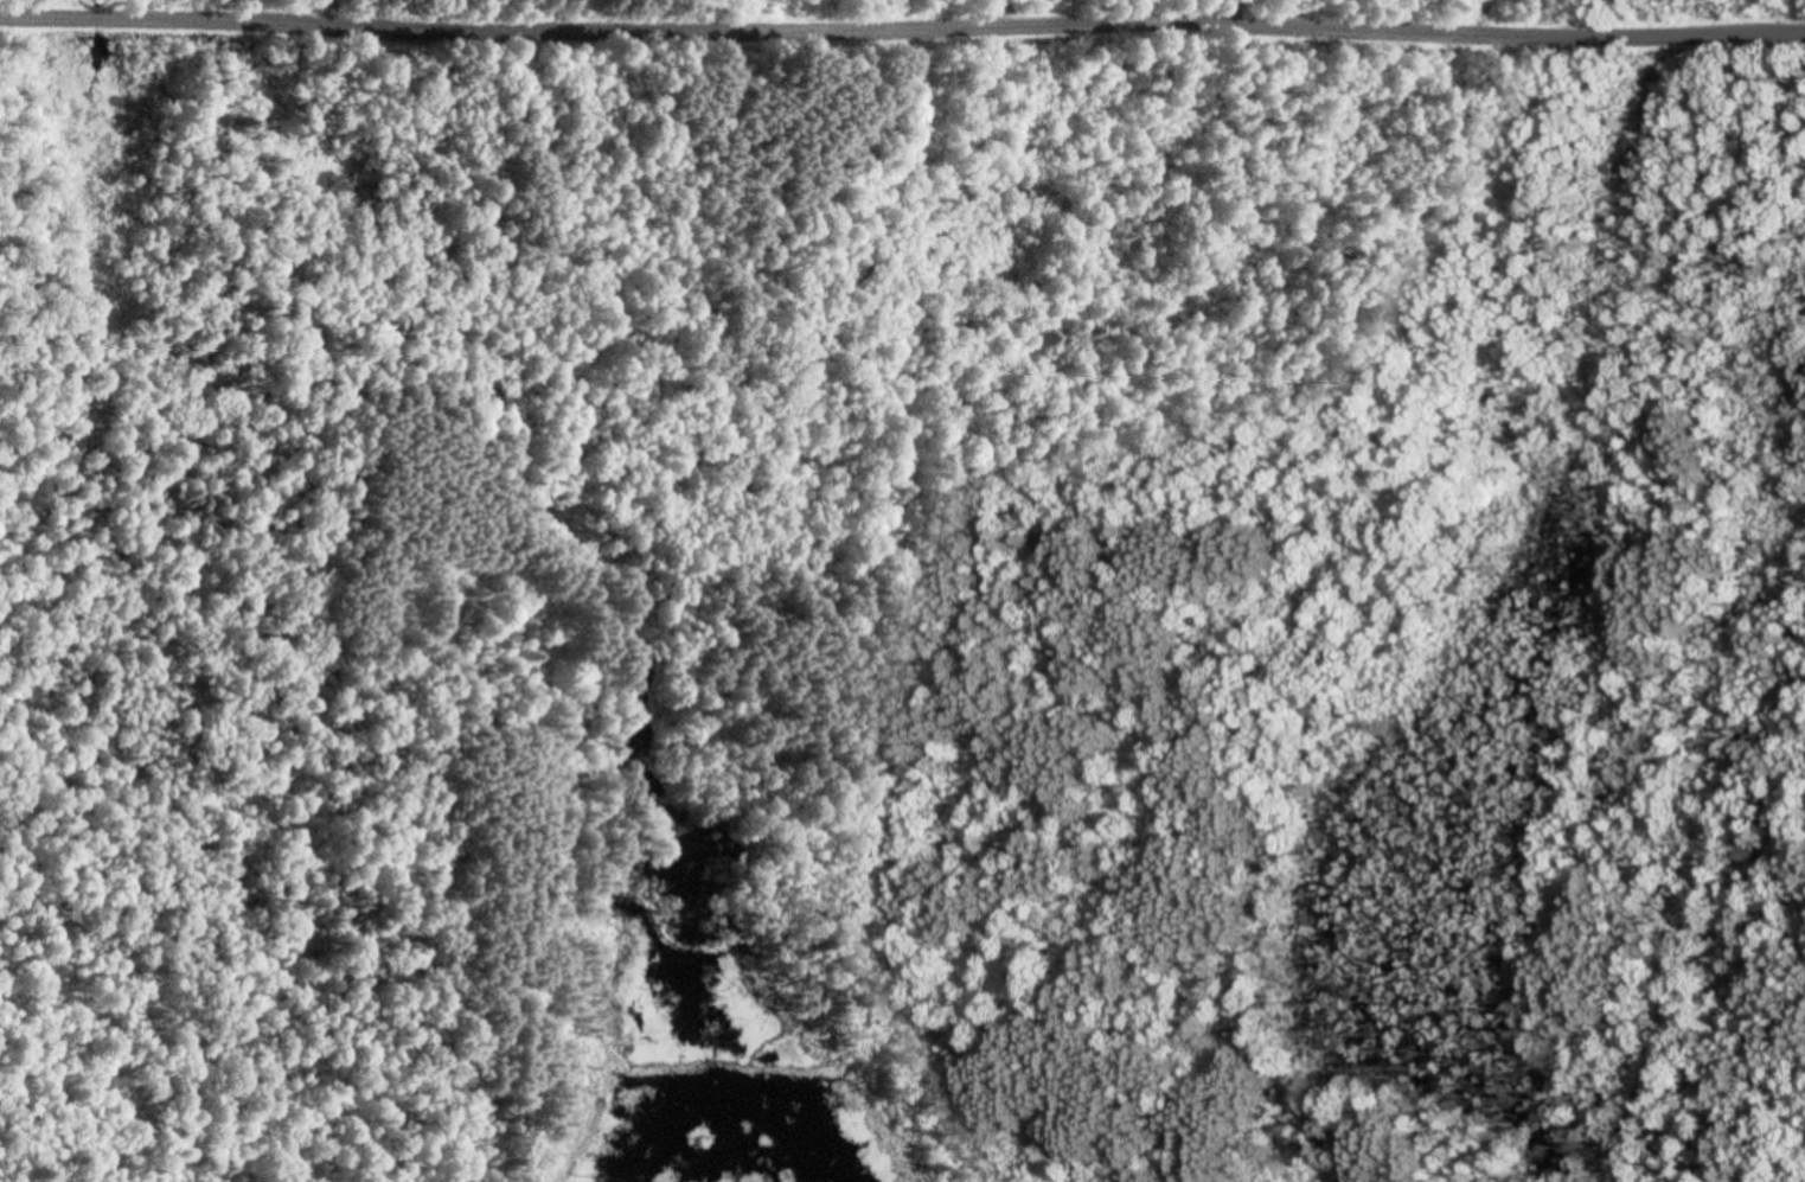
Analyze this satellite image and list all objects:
road: (719, 24)
road: (1621, 40)
road: (909, 670)

